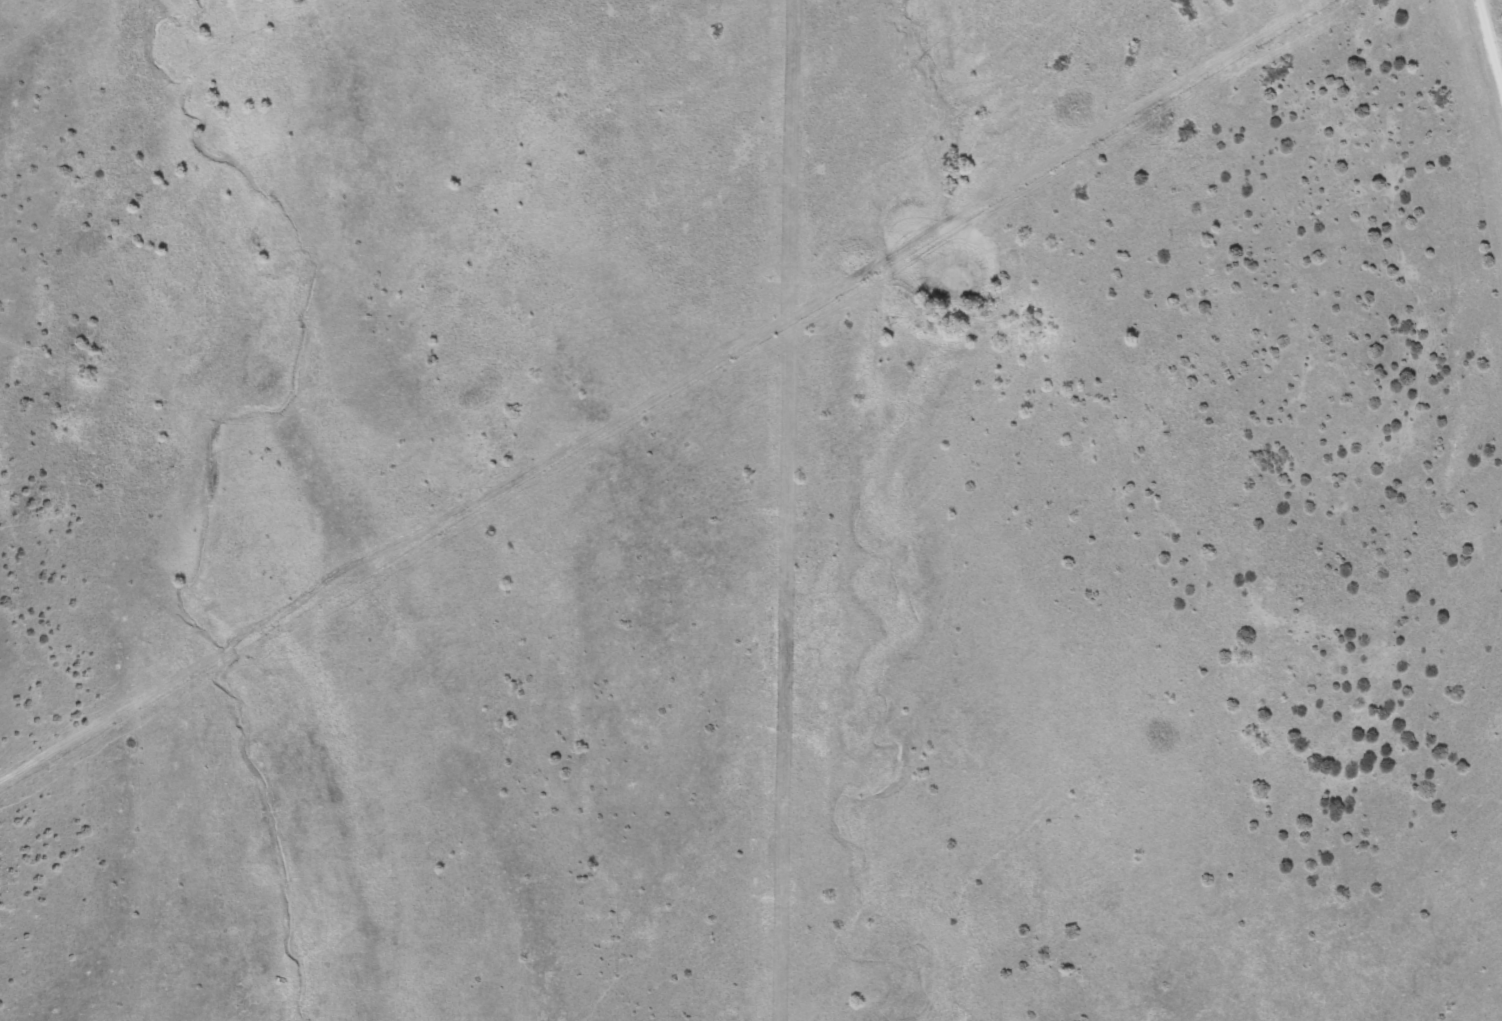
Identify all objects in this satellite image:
road: (1489, 45)

